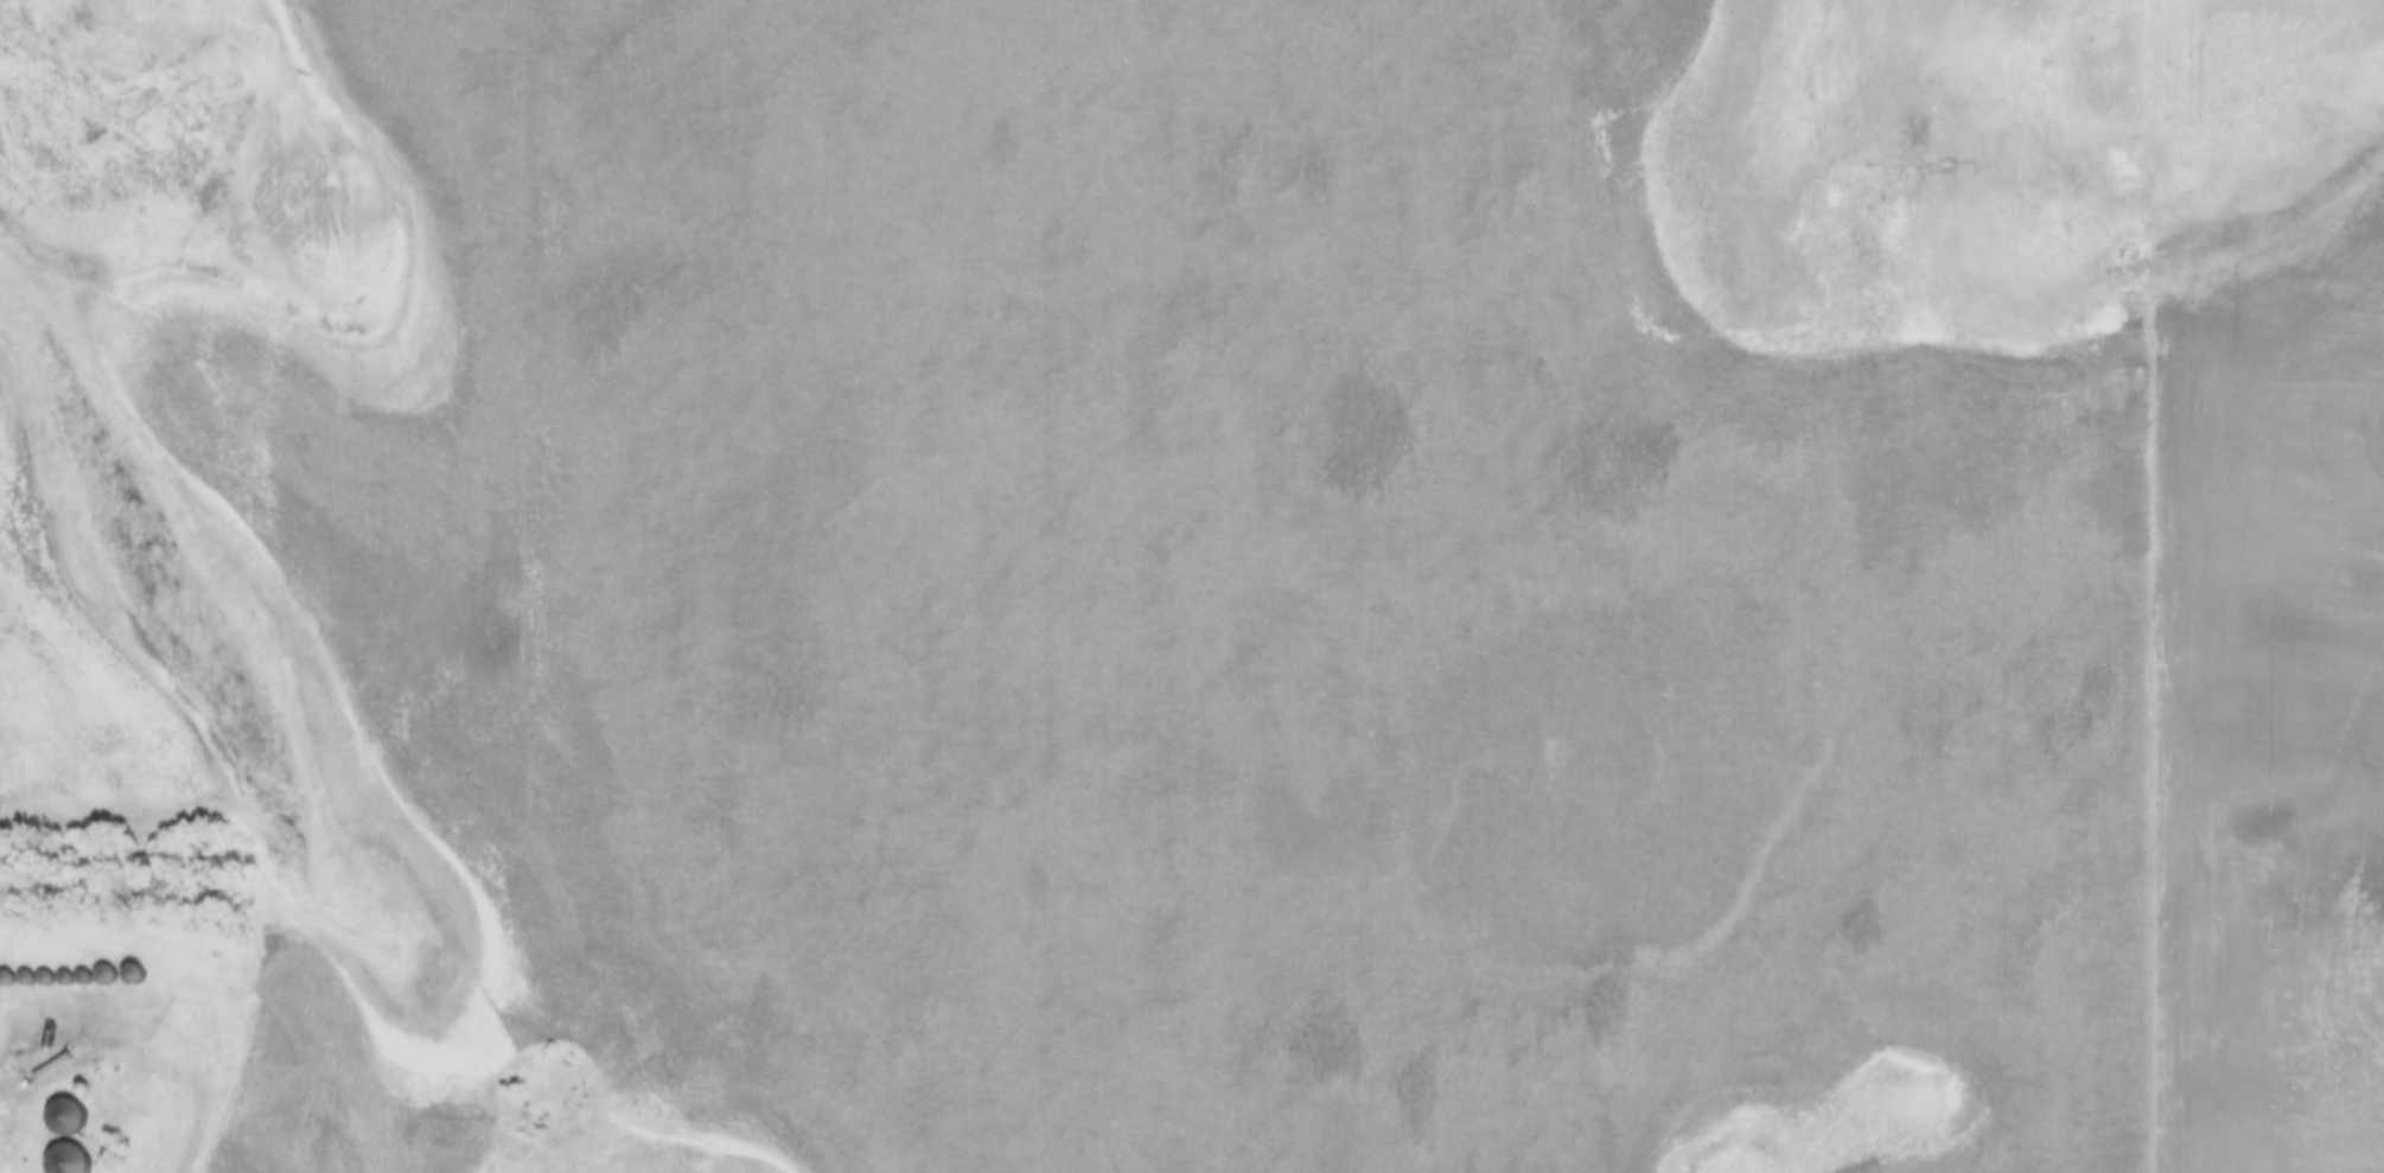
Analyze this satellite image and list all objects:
building: (8, 980)
road: (57, 1058)
building: (71, 1118)
building: (72, 1159)

